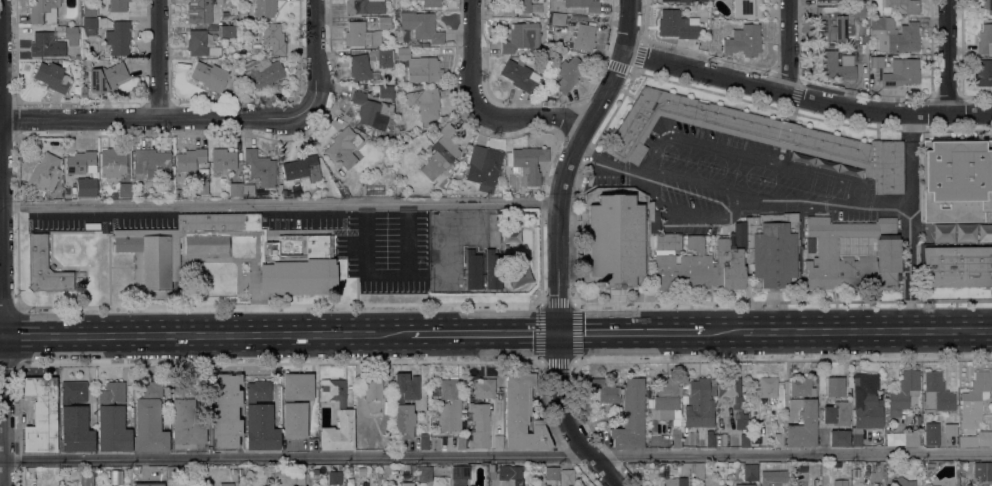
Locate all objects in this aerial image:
building: (685, 1)
building: (857, 1)
building: (430, 3)
building: (584, 4)
building: (117, 5)
building: (363, 6)
building: (523, 6)
building: (902, 6)
building: (988, 6)
building: (264, 8)
building: (202, 9)
building: (748, 9)
building: (89, 10)
building: (43, 11)
building: (242, 14)
building: (557, 19)
building: (384, 22)
building: (836, 22)
building: (678, 25)
building: (89, 26)
building: (421, 26)
building: (227, 31)
building: (70, 32)
building: (360, 35)
building: (894, 35)
building: (118, 37)
building: (520, 37)
building: (583, 37)
building: (272, 39)
building: (864, 39)
building: (984, 39)
building: (743, 40)
building: (46, 44)
building: (200, 44)
road: (787, 46)
building: (864, 49)
building: (231, 53)
building: (240, 54)
road: (317, 54)
road: (952, 56)
building: (384, 58)
road: (160, 59)
road: (724, 60)
building: (876, 61)
building: (833, 66)
building: (359, 67)
building: (419, 67)
building: (901, 72)
building: (983, 72)
building: (568, 73)
building: (262, 74)
building: (518, 74)
building: (209, 75)
building: (51, 76)
building: (106, 77)
building: (384, 91)
building: (83, 92)
road: (805, 96)
building: (424, 102)
road: (480, 108)
building: (371, 110)
road: (157, 119)
building: (755, 135)
building: (343, 147)
building: (440, 153)
building: (189, 159)
building: (222, 160)
building: (79, 162)
building: (112, 162)
building: (149, 163)
building: (527, 164)
building: (483, 167)
road: (616, 167)
building: (260, 168)
building: (389, 169)
building: (303, 170)
building: (44, 172)
building: (956, 180)
building: (85, 186)
building: (203, 187)
building: (235, 189)
building: (248, 189)
building: (124, 190)
building: (286, 193)
building: (113, 195)
road: (753, 195)
road: (879, 200)
road: (279, 203)
road: (571, 204)
road: (910, 220)
building: (984, 232)
building: (964, 233)
building: (510, 235)
road: (1, 242)
road: (558, 244)
building: (810, 245)
building: (645, 246)
building: (771, 248)
building: (887, 248)
building: (155, 253)
building: (955, 266)
building: (44, 267)
building: (472, 269)
building: (492, 269)
road: (569, 302)
road: (279, 305)
road: (846, 328)
road: (482, 329)
traffic signals: (558, 329)
road: (629, 329)
road: (259, 333)
road: (55, 335)
road: (0, 336)
building: (297, 386)
building: (834, 387)
building: (484, 388)
building: (372, 389)
building: (766, 389)
building: (903, 392)
building: (937, 392)
building: (112, 393)
building: (666, 398)
building: (732, 398)
building: (974, 400)
building: (866, 401)
building: (699, 403)
building: (404, 405)
building: (448, 406)
building: (623, 409)
building: (225, 411)
building: (836, 413)
building: (521, 414)
building: (40, 415)
building: (801, 415)
building: (75, 418)
building: (186, 418)
building: (260, 418)
building: (345, 418)
building: (149, 419)
building: (294, 420)
building: (479, 425)
building: (113, 429)
building: (763, 429)
building: (950, 429)
building: (931, 433)
building: (676, 438)
building: (710, 438)
building: (838, 438)
building: (856, 438)
building: (911, 438)
building: (757, 439)
building: (975, 439)
building: (744, 440)
building: (778, 440)
building: (423, 441)
building: (497, 441)
building: (386, 442)
building: (461, 442)
road: (495, 456)
building: (931, 465)
building: (87, 468)
building: (404, 468)
building: (803, 468)
building: (982, 469)
building: (267, 470)
building: (697, 470)
building: (315, 471)
building: (174, 472)
building: (508, 472)
building: (750, 472)
building: (107, 473)
building: (424, 473)
building: (528, 473)
building: (551, 473)
building: (459, 474)
building: (334, 477)
building: (566, 477)
building: (773, 478)
building: (86, 479)
building: (300, 479)
building: (674, 481)
building: (901, 481)
building: (408, 483)
building: (840, 483)
building: (226, 484)
building: (744, 484)
building: (299, 485)
building: (546, 485)
building: (935, 485)

